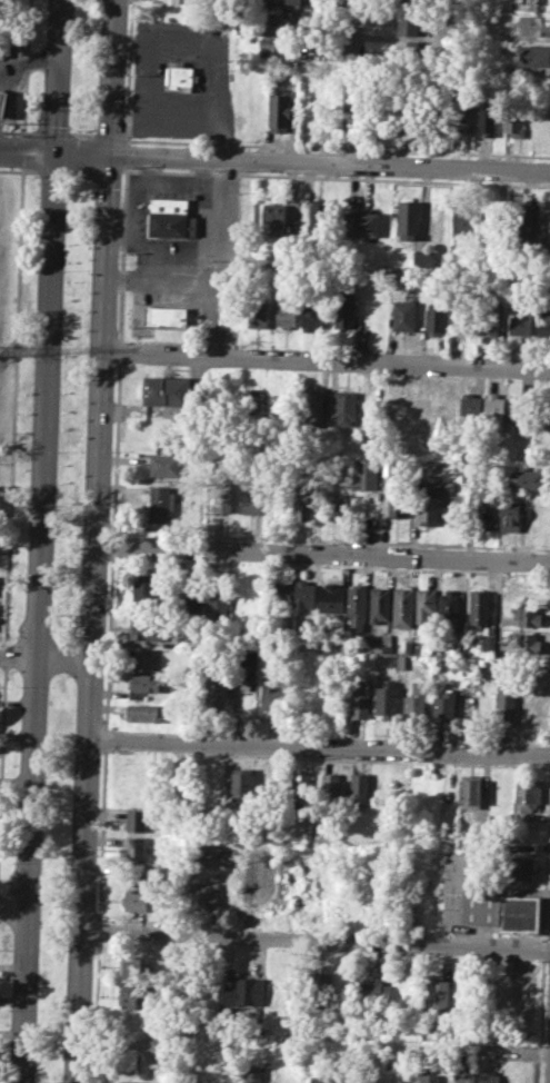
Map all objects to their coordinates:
building: (190, 1)
building: (289, 2)
building: (411, 3)
building: (539, 4)
building: (259, 9)
street lamp: (44, 20)
building: (534, 23)
building: (408, 24)
street lamp: (128, 31)
building: (271, 46)
building: (408, 51)
building: (532, 54)
road: (28, 60)
road: (206, 64)
road: (24, 67)
park: (84, 67)
road: (128, 71)
building: (320, 73)
building: (179, 76)
road: (57, 78)
road: (111, 78)
road: (148, 78)
road: (353, 82)
building: (2, 102)
gas station: (2, 102)
street lamp: (124, 102)
street lamp: (40, 106)
road: (164, 108)
building: (279, 111)
building: (462, 115)
building: (409, 116)
building: (513, 118)
building: (487, 119)
road: (16, 130)
road: (51, 132)
street lamp: (20, 135)
road: (81, 135)
road: (108, 136)
road: (126, 139)
road: (233, 143)
road: (350, 147)
road: (22, 150)
road: (456, 151)
road: (127, 153)
road: (27, 155)
road: (81, 156)
road: (329, 163)
street lamp: (130, 168)
road: (203, 171)
road: (170, 181)
street lamp: (38, 185)
street lamp: (92, 190)
road: (217, 215)
building: (171, 217)
building: (273, 218)
building: (319, 218)
building: (408, 219)
building: (463, 220)
building: (362, 221)
building: (522, 223)
road: (134, 227)
road: (120, 230)
building: (544, 235)
parking lot: (187, 245)
road: (122, 252)
building: (420, 258)
street lamp: (118, 261)
street lamp: (63, 272)
road: (197, 280)
building: (344, 307)
building: (258, 311)
building: (286, 314)
building: (403, 314)
building: (167, 315)
building: (312, 315)
building: (436, 316)
building: (464, 316)
building: (490, 320)
building: (521, 324)
building: (543, 327)
street lamp: (132, 341)
road: (21, 345)
road: (119, 351)
street lamp: (87, 360)
road: (324, 360)
street lamp: (31, 364)
building: (167, 390)
building: (254, 404)
building: (470, 405)
road: (13, 406)
building: (311, 406)
park: (72, 407)
building: (423, 407)
building: (347, 408)
building: (494, 408)
building: (520, 409)
building: (542, 410)
road: (116, 448)
street lamp: (112, 449)
street lamp: (58, 451)
building: (510, 451)
building: (524, 454)
building: (164, 461)
building: (367, 473)
building: (528, 478)
building: (163, 494)
building: (377, 496)
building: (222, 497)
building: (253, 501)
building: (398, 501)
building: (430, 501)
building: (452, 501)
building: (333, 503)
building: (304, 505)
building: (487, 509)
building: (509, 514)
road: (40, 530)
street lamp: (24, 540)
road: (96, 543)
road: (112, 544)
street lamp: (79, 550)
road: (322, 553)
building: (143, 587)
building: (526, 588)
building: (281, 593)
building: (306, 595)
road: (499, 596)
building: (332, 597)
building: (196, 598)
building: (219, 599)
building: (426, 603)
building: (380, 604)
building: (358, 606)
building: (403, 606)
building: (478, 606)
building: (448, 609)
building: (527, 615)
building: (148, 624)
street lamp: (51, 629)
road: (109, 640)
building: (312, 640)
building: (341, 640)
building: (387, 642)
building: (527, 642)
street lamp: (106, 645)
building: (411, 647)
building: (459, 647)
road: (4, 656)
road: (46, 656)
building: (143, 657)
building: (400, 660)
building: (144, 683)
street lamp: (20, 685)
building: (217, 689)
building: (546, 692)
building: (271, 693)
road: (239, 694)
building: (361, 698)
building: (387, 698)
building: (416, 699)
building: (507, 704)
building: (444, 705)
building: (531, 707)
building: (146, 712)
road: (2, 724)
road: (106, 737)
street lamp: (72, 747)
road: (319, 747)
street lamp: (46, 774)
road: (16, 783)
building: (243, 784)
building: (302, 786)
building: (330, 786)
building: (359, 787)
building: (470, 791)
building: (441, 793)
building: (528, 793)
building: (137, 819)
road: (102, 834)
building: (134, 847)
street lamp: (98, 848)
street lamp: (14, 860)
building: (518, 868)
park: (54, 881)
building: (206, 893)
building: (139, 898)
building: (487, 898)
road: (13, 906)
street lamp: (40, 923)
road: (99, 931)
street lamp: (67, 935)
road: (317, 940)
street lamp: (111, 942)
building: (131, 965)
building: (319, 988)
building: (371, 991)
building: (244, 992)
building: (439, 993)
road: (24, 994)
building: (130, 996)
road: (80, 1006)
street lamp: (8, 1010)
road: (96, 1012)
building: (128, 1029)
street lamp: (90, 1045)
building: (128, 1060)
building: (253, 1074)
building: (400, 1076)
building: (491, 1076)
building: (429, 1077)
building: (464, 1077)
building: (330, 1079)
building: (369, 1079)
building: (127, 1082)

